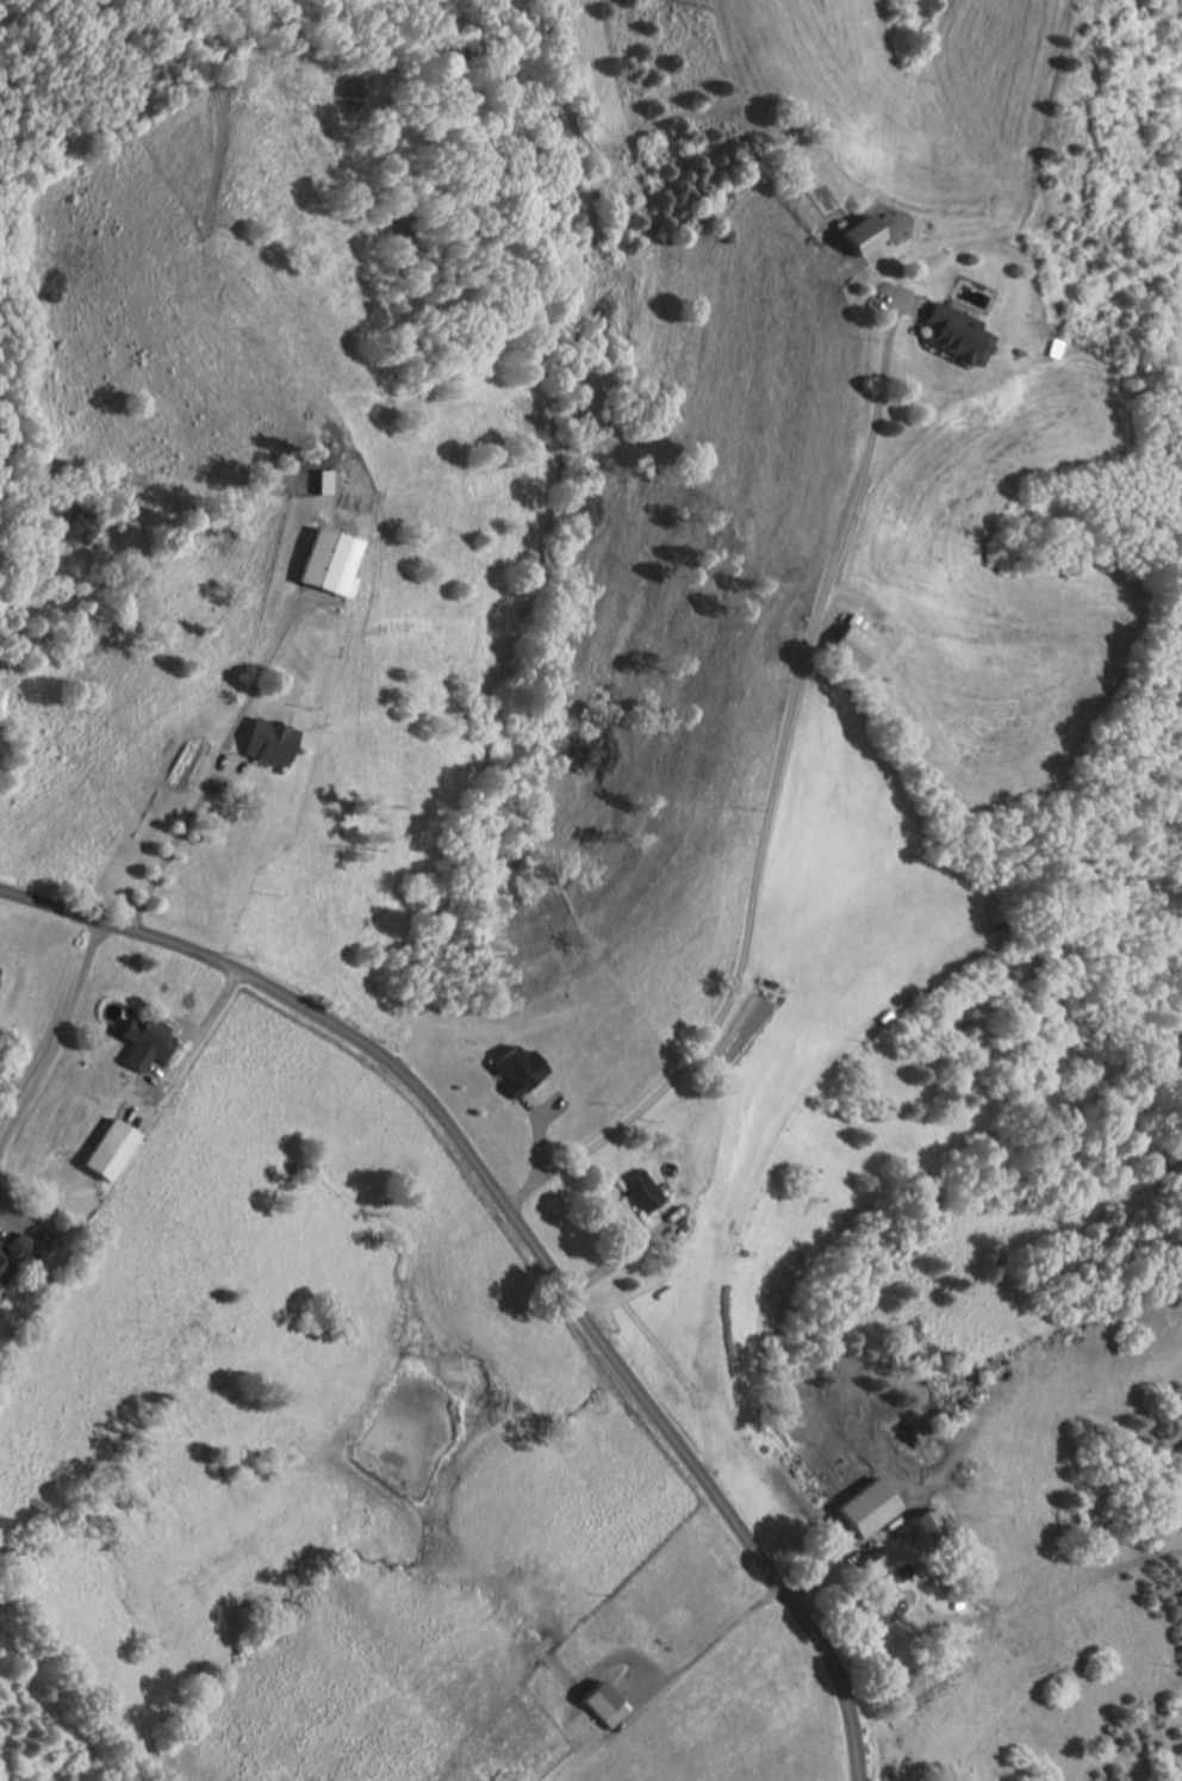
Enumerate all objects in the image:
building: (863, 234)
building: (847, 235)
road: (904, 299)
building: (959, 334)
building: (1019, 350)
building: (317, 480)
building: (318, 560)
building: (856, 643)
building: (267, 749)
road: (223, 751)
building: (229, 765)
road: (771, 795)
road: (58, 1038)
building: (150, 1043)
road: (186, 1049)
building: (505, 1069)
road: (546, 1110)
road: (534, 1136)
building: (119, 1140)
building: (640, 1190)
road: (659, 1214)
road: (7, 1230)
road: (525, 1233)
road: (626, 1252)
building: (17, 1256)
building: (857, 1508)
building: (927, 1528)
building: (894, 1532)
building: (870, 1555)
building: (902, 1571)
road: (823, 1583)
building: (887, 1608)
road: (623, 1657)
road: (688, 1662)
building: (604, 1702)
road: (567, 1758)

